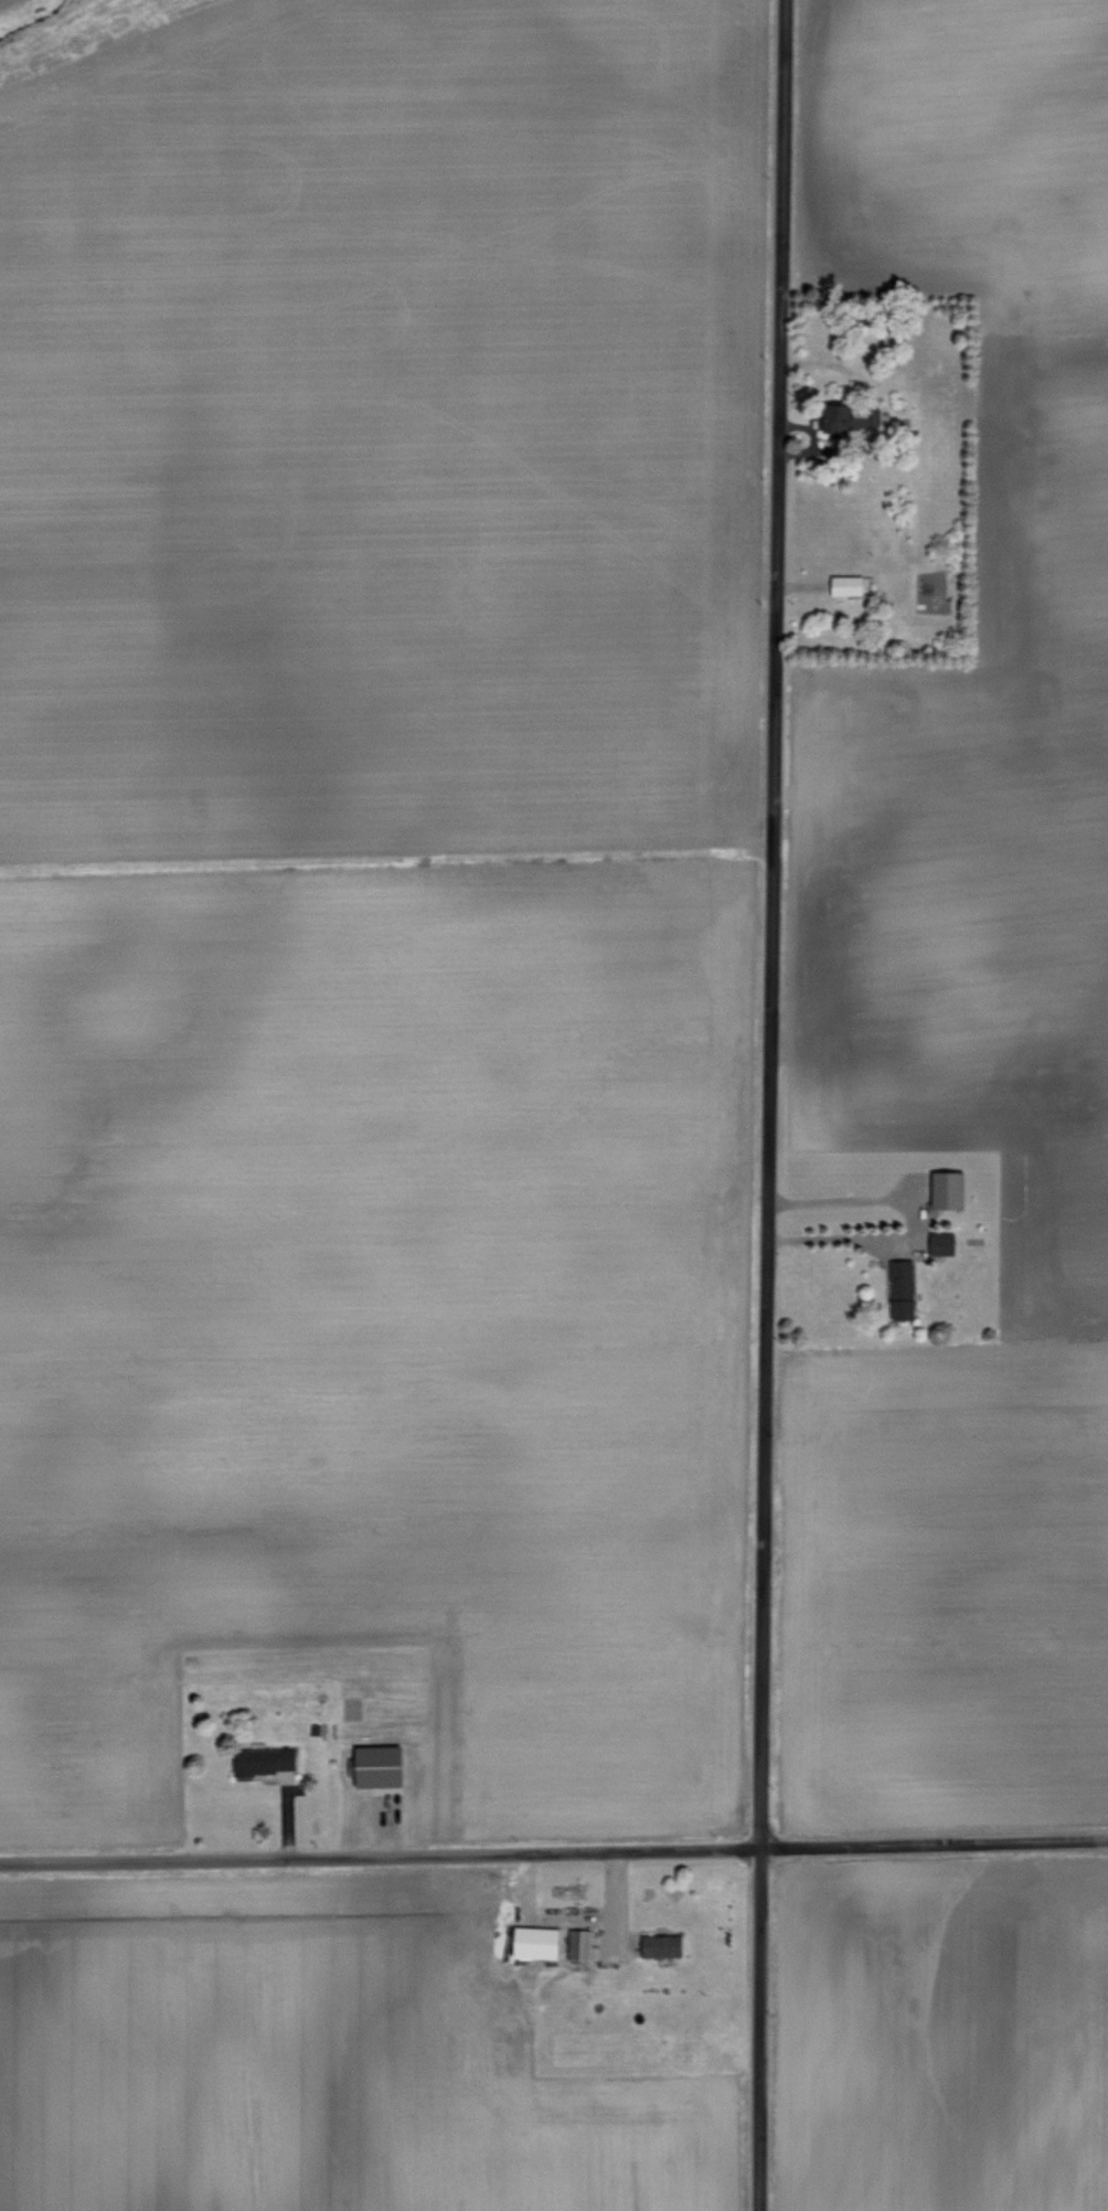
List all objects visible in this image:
road: (878, 412)
building: (840, 583)
road: (765, 1105)
building: (940, 1189)
road: (832, 1239)
building: (897, 1287)
building: (267, 1760)
building: (385, 1765)
road: (554, 1853)
building: (541, 1942)
building: (583, 1944)
building: (663, 1945)

